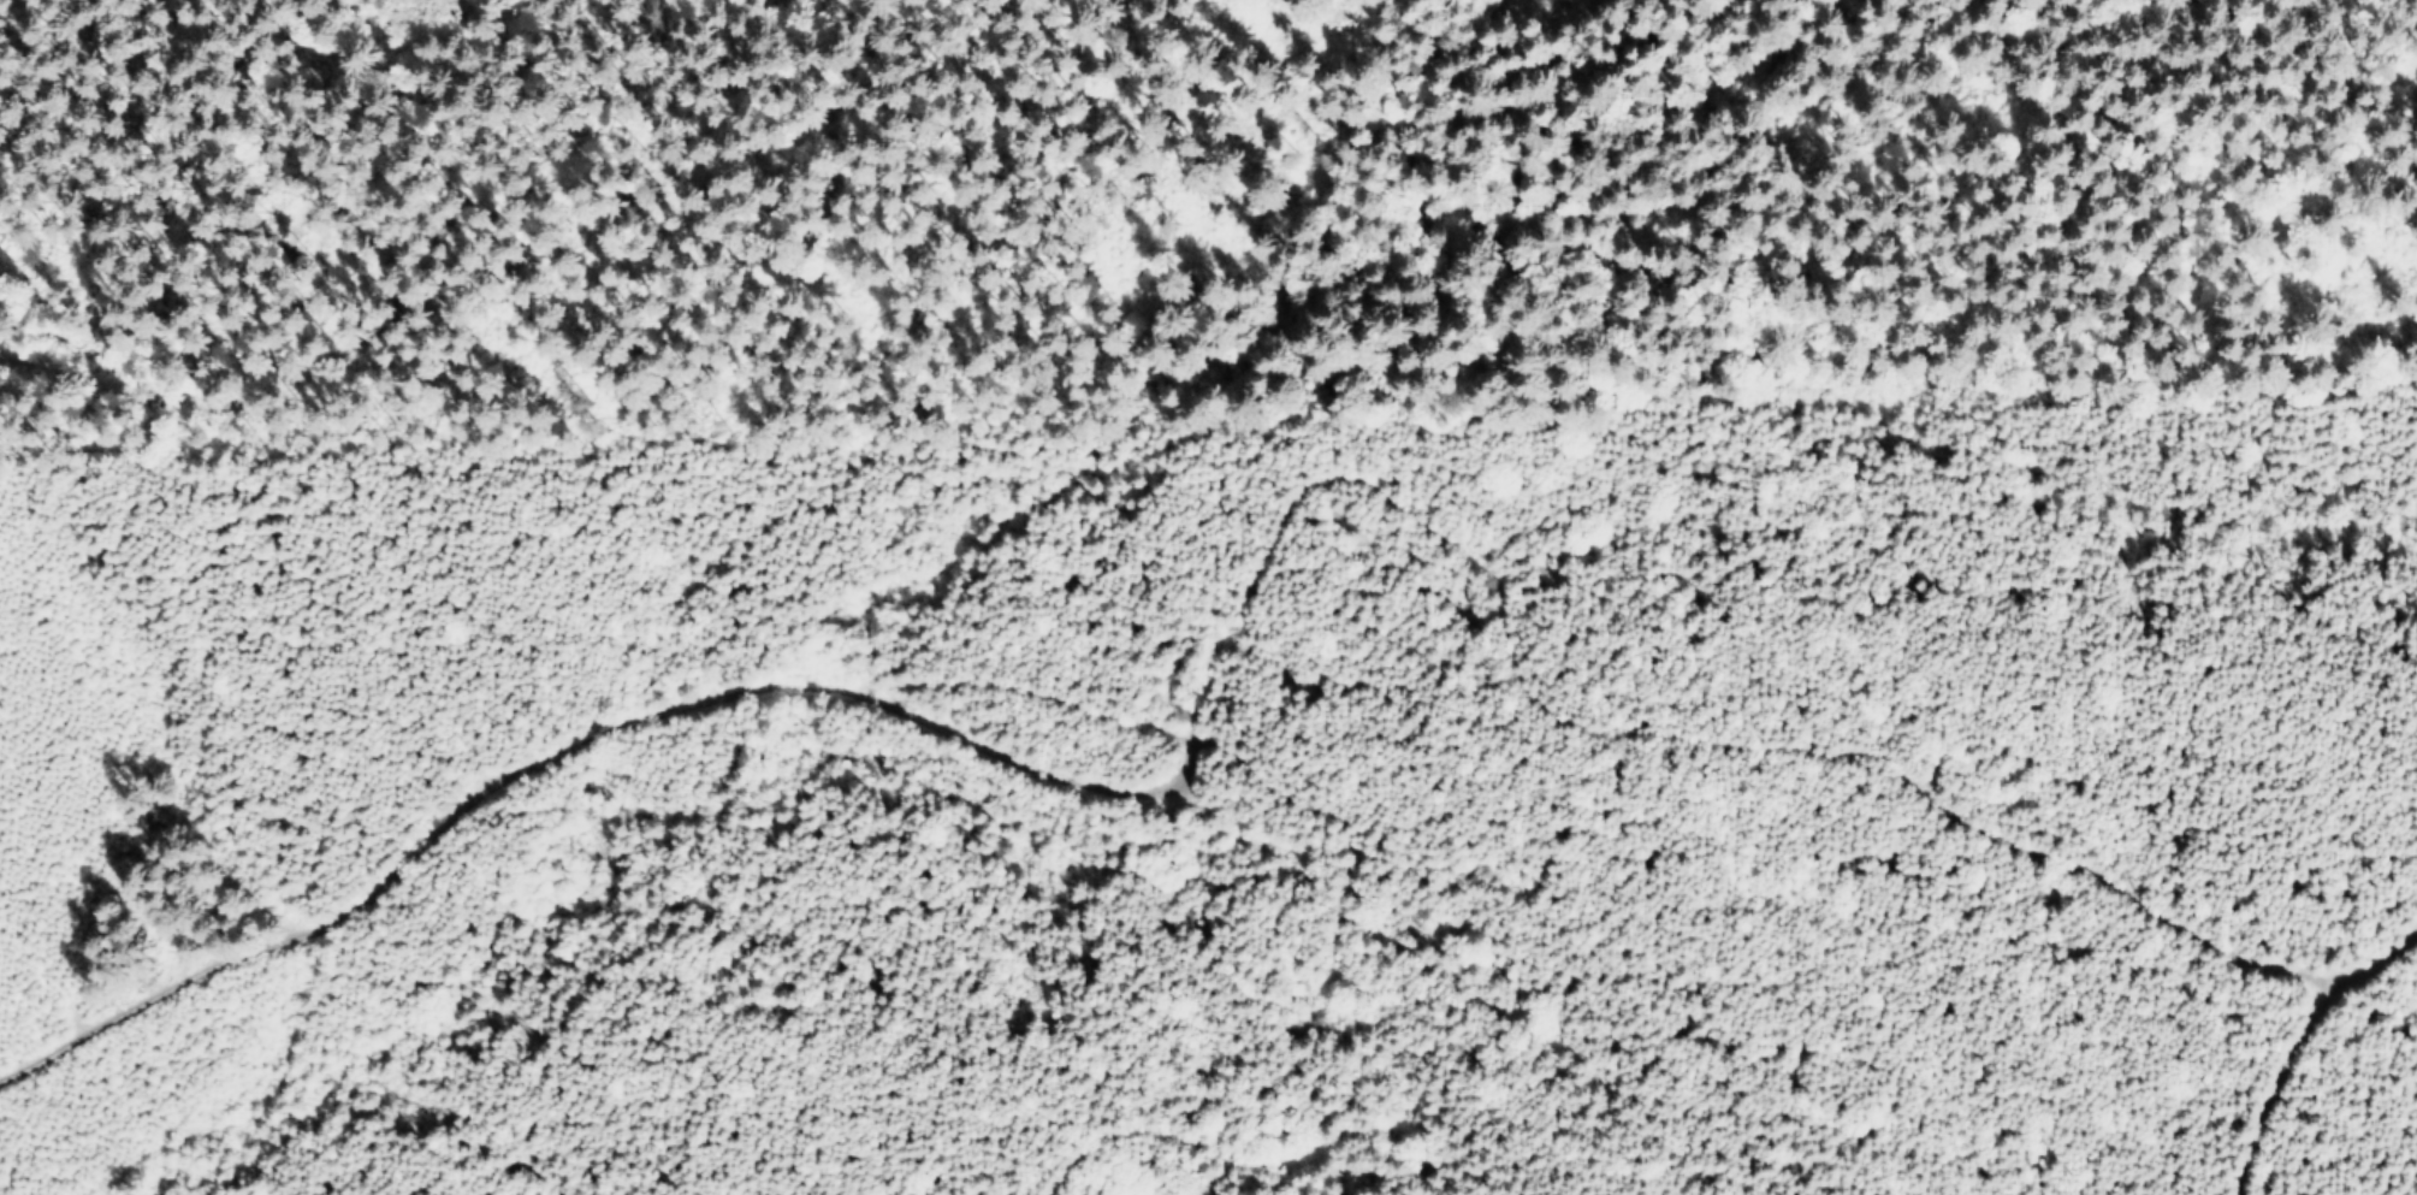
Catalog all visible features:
road: (1192, 763)

